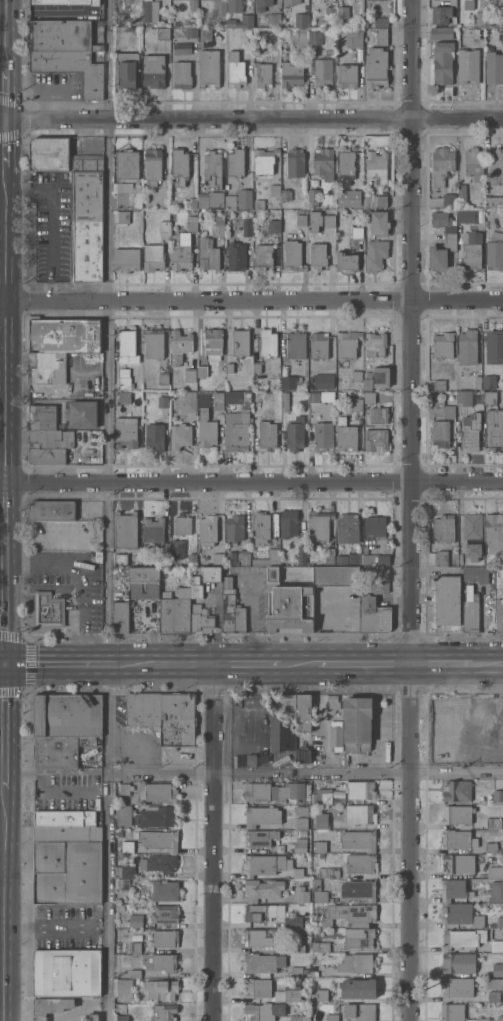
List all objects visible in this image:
building: (210, 0)
building: (65, 2)
building: (289, 2)
building: (192, 3)
building: (468, 4)
building: (261, 5)
building: (234, 6)
building: (219, 8)
building: (341, 11)
building: (149, 12)
building: (441, 14)
building: (120, 15)
building: (326, 16)
building: (273, 19)
building: (301, 19)
building: (480, 19)
building: (241, 21)
building: (380, 21)
building: (500, 21)
building: (191, 32)
building: (162, 33)
building: (441, 33)
road: (5, 34)
building: (60, 36)
building: (299, 36)
building: (381, 36)
building: (204, 37)
building: (315, 38)
building: (354, 38)
building: (181, 51)
building: (442, 62)
building: (468, 66)
building: (209, 67)
building: (376, 67)
building: (494, 68)
building: (71, 69)
building: (127, 69)
building: (235, 69)
building: (153, 71)
building: (322, 73)
building: (182, 74)
building: (292, 74)
building: (263, 75)
building: (347, 76)
road: (5, 93)
road: (251, 119)
road: (5, 146)
building: (60, 156)
building: (264, 160)
building: (235, 162)
building: (295, 162)
building: (127, 163)
building: (323, 163)
building: (345, 163)
building: (441, 164)
building: (474, 164)
building: (179, 165)
building: (153, 166)
building: (376, 166)
building: (496, 166)
building: (212, 168)
building: (274, 191)
building: (461, 193)
building: (286, 194)
building: (128, 195)
building: (351, 195)
building: (312, 197)
building: (243, 198)
building: (210, 199)
building: (374, 200)
building: (230, 201)
building: (449, 201)
building: (494, 202)
building: (190, 203)
building: (259, 204)
road: (52, 210)
building: (467, 216)
building: (123, 217)
building: (440, 219)
building: (301, 220)
building: (329, 220)
building: (314, 221)
building: (379, 223)
building: (86, 225)
building: (164, 226)
building: (191, 226)
building: (218, 226)
building: (273, 226)
building: (247, 227)
building: (357, 232)
building: (451, 236)
road: (111, 239)
building: (472, 251)
building: (494, 252)
building: (179, 254)
building: (207, 254)
building: (375, 255)
building: (441, 255)
building: (153, 256)
building: (235, 256)
building: (262, 256)
building: (293, 256)
building: (317, 256)
building: (126, 259)
building: (346, 261)
building: (169, 269)
road: (251, 301)
building: (180, 341)
building: (153, 342)
building: (240, 342)
building: (59, 343)
building: (267, 343)
building: (347, 343)
building: (213, 344)
building: (375, 344)
building: (443, 345)
building: (318, 346)
building: (494, 346)
building: (127, 347)
building: (467, 347)
road: (4, 353)
building: (292, 359)
building: (228, 368)
building: (256, 368)
building: (202, 371)
building: (123, 372)
building: (189, 375)
building: (356, 376)
building: (380, 377)
building: (163, 378)
building: (323, 381)
building: (366, 381)
building: (489, 381)
building: (477, 382)
building: (124, 383)
building: (439, 385)
building: (238, 396)
building: (326, 396)
building: (452, 396)
building: (124, 397)
building: (313, 397)
building: (369, 397)
building: (432, 397)
building: (490, 397)
building: (464, 398)
building: (164, 401)
building: (189, 401)
building: (218, 401)
building: (284, 402)
road: (2, 404)
building: (356, 404)
building: (443, 410)
building: (82, 414)
building: (378, 415)
building: (40, 417)
building: (206, 429)
building: (494, 430)
building: (470, 432)
building: (240, 433)
building: (295, 433)
building: (124, 435)
building: (267, 435)
building: (440, 435)
building: (179, 436)
building: (345, 436)
building: (154, 437)
building: (323, 437)
building: (375, 440)
building: (49, 445)
road: (251, 478)
building: (51, 510)
road: (410, 510)
building: (288, 523)
building: (182, 524)
building: (318, 525)
building: (234, 527)
building: (261, 527)
building: (347, 527)
building: (374, 527)
building: (207, 528)
building: (445, 528)
building: (125, 529)
building: (152, 529)
building: (473, 535)
building: (495, 535)
building: (177, 548)
building: (365, 550)
building: (301, 555)
building: (328, 557)
building: (242, 558)
building: (441, 558)
building: (120, 559)
building: (191, 559)
building: (217, 559)
building: (268, 559)
building: (358, 559)
building: (374, 560)
building: (210, 573)
building: (471, 573)
building: (485, 573)
building: (336, 576)
building: (379, 581)
building: (152, 587)
building: (196, 587)
road: (5, 599)
building: (447, 600)
building: (120, 601)
building: (289, 606)
building: (47, 609)
building: (231, 609)
building: (471, 610)
building: (175, 613)
building: (499, 614)
building: (373, 616)
building: (201, 617)
road: (61, 664)
road: (165, 664)
road: (247, 664)
road: (299, 664)
road: (365, 664)
road: (442, 664)
road: (487, 664)
road: (3, 665)
traffic signals: (6, 665)
building: (332, 703)
building: (288, 705)
building: (144, 710)
building: (303, 711)
building: (66, 715)
building: (178, 719)
building: (350, 723)
building: (364, 723)
road: (5, 728)
building: (274, 733)
building: (335, 736)
building: (471, 739)
building: (289, 741)
road: (107, 749)
building: (58, 750)
building: (303, 754)
building: (251, 760)
road: (304, 775)
road: (2, 780)
building: (124, 789)
building: (361, 789)
building: (274, 791)
building: (457, 791)
building: (158, 792)
building: (498, 795)
building: (326, 797)
building: (301, 810)
building: (360, 814)
building: (456, 814)
building: (123, 815)
building: (156, 816)
building: (262, 816)
building: (63, 818)
building: (322, 820)
building: (300, 823)
building: (494, 823)
building: (66, 833)
building: (260, 837)
building: (158, 839)
building: (457, 839)
building: (359, 840)
road: (213, 842)
building: (300, 845)
building: (127, 846)
building: (320, 846)
building: (491, 848)
building: (118, 851)
building: (120, 857)
building: (501, 859)
building: (158, 863)
building: (361, 863)
building: (459, 863)
building: (263, 864)
road: (1, 869)
building: (124, 871)
building: (493, 871)
building: (66, 872)
building: (328, 872)
building: (123, 884)
building: (262, 889)
building: (359, 889)
building: (453, 889)
building: (164, 890)
building: (496, 891)
building: (318, 892)
building: (301, 894)
road: (2, 905)
building: (268, 913)
building: (457, 913)
building: (163, 914)
building: (350, 914)
building: (135, 921)
building: (499, 922)
building: (359, 937)
building: (165, 938)
building: (257, 938)
building: (463, 938)
building: (60, 940)
building: (497, 945)
building: (320, 946)
building: (134, 947)
building: (298, 948)
building: (458, 962)
building: (163, 963)
building: (262, 963)
building: (362, 963)
building: (344, 964)
building: (498, 969)
building: (298, 971)
building: (65, 972)
building: (134, 973)
building: (314, 973)
building: (494, 984)
building: (257, 987)
building: (457, 987)
building: (124, 988)
building: (358, 988)
building: (161, 990)
building: (289, 994)
building: (321, 995)
building: (493, 995)
building: (49, 1006)
building: (264, 1011)
building: (360, 1011)
building: (163, 1012)
building: (452, 1012)
building: (91, 1017)
building: (332, 1017)
building: (121, 1018)
building: (290, 1018)
building: (500, 1018)
building: (483, 1019)

